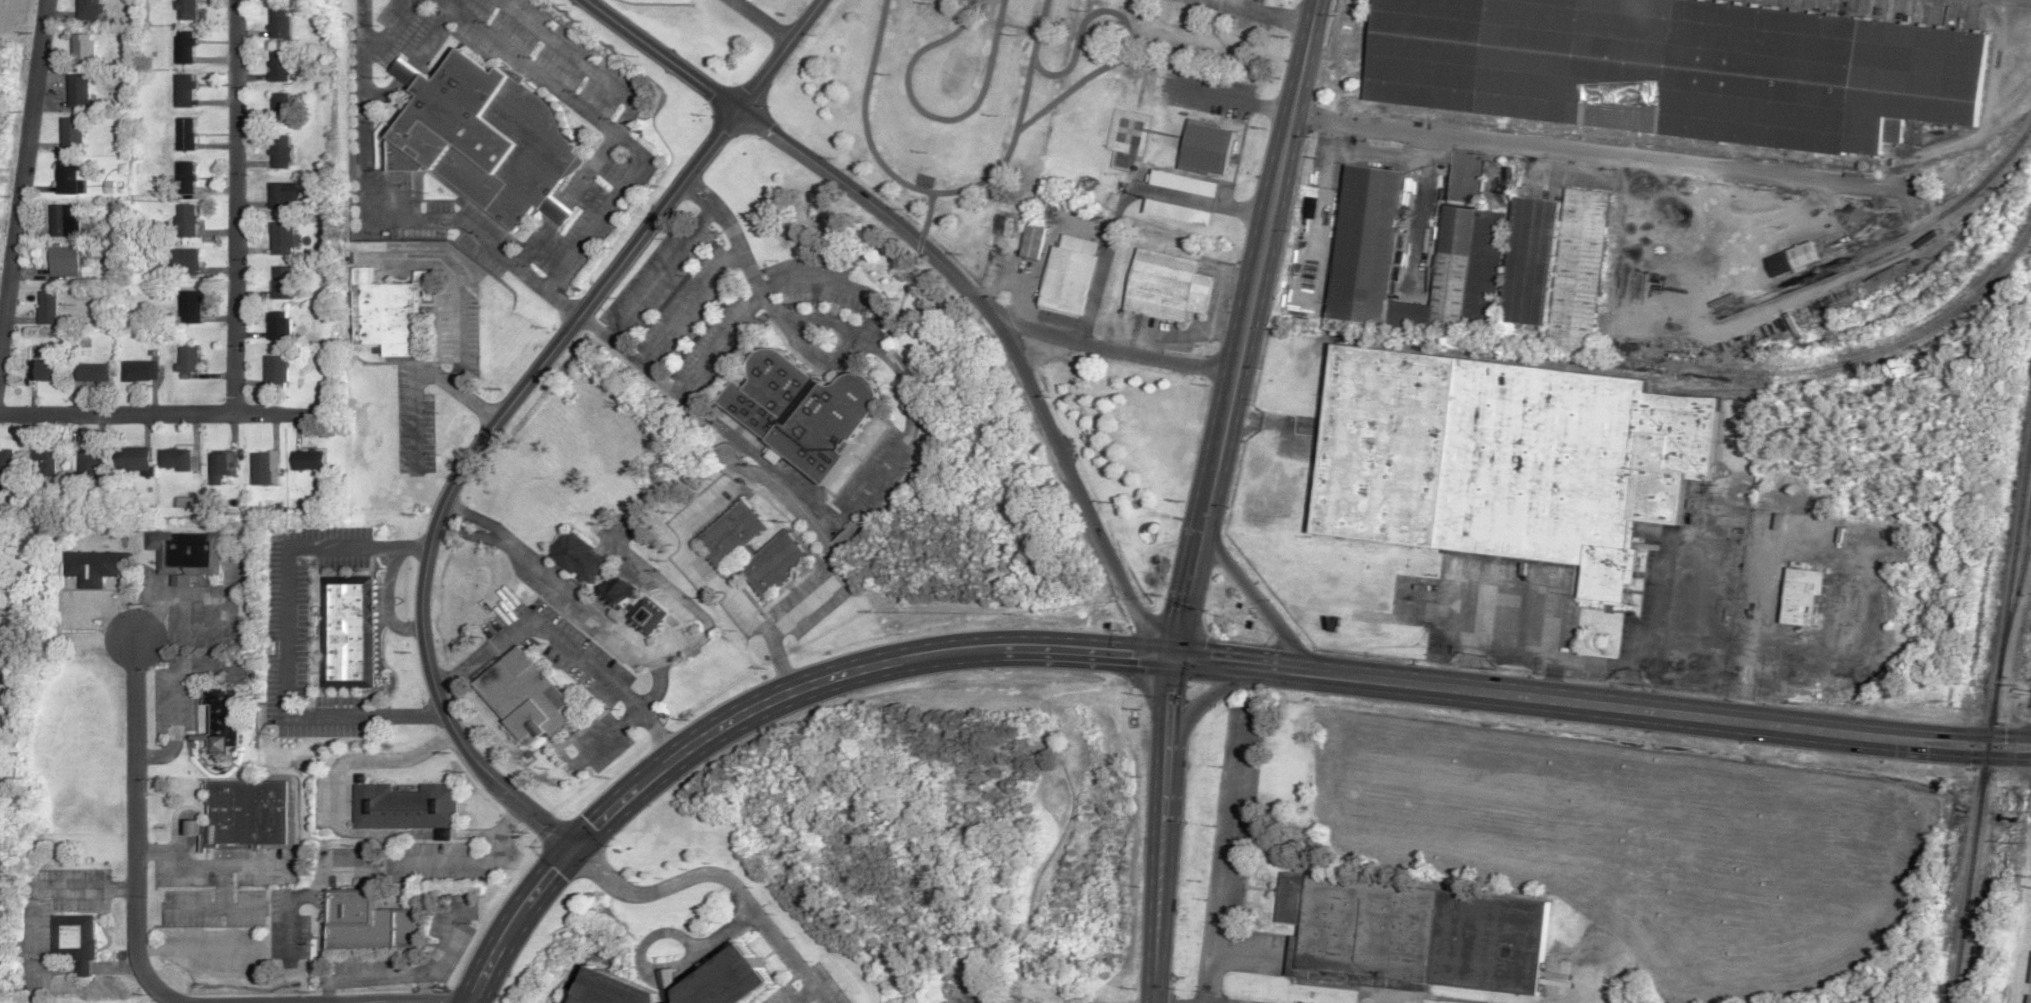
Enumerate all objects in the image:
building: (88, 9)
building: (186, 10)
road: (760, 19)
building: (280, 26)
road: (389, 27)
building: (184, 47)
building: (83, 49)
road: (662, 55)
road: (412, 62)
road: (587, 63)
building: (279, 66)
building: (1678, 69)
building: (78, 91)
building: (184, 91)
building: (280, 109)
road: (363, 109)
road: (594, 118)
building: (72, 135)
building: (185, 135)
road: (1465, 136)
building: (489, 138)
building: (1207, 149)
building: (280, 152)
road: (24, 172)
building: (67, 178)
building: (185, 178)
building: (282, 195)
road: (235, 205)
road: (1422, 205)
road: (873, 206)
road: (608, 209)
building: (186, 221)
building: (64, 222)
building: (1002, 233)
building: (281, 239)
railway: (1893, 240)
road: (480, 241)
building: (1925, 241)
building: (1032, 242)
building: (1467, 256)
road: (1260, 257)
building: (1791, 259)
building: (64, 261)
building: (184, 261)
building: (1556, 266)
building: (1069, 275)
building: (281, 282)
building: (1166, 286)
building: (190, 307)
building: (48, 308)
building: (385, 314)
building: (279, 326)
road: (1114, 348)
building: (189, 358)
railway: (1733, 368)
building: (47, 370)
building: (140, 370)
building: (277, 371)
building: (93, 373)
road: (508, 408)
building: (801, 409)
road: (157, 413)
building: (133, 459)
building: (176, 459)
building: (309, 459)
building: (7, 460)
building: (43, 460)
building: (93, 460)
building: (1505, 460)
building: (223, 466)
building: (265, 466)
road: (1076, 493)
road: (445, 517)
road: (451, 518)
building: (780, 549)
building: (185, 554)
building: (579, 556)
road: (1187, 584)
building: (616, 590)
railway: (2015, 591)
building: (1801, 595)
road: (1251, 596)
road: (576, 603)
building: (646, 616)
road: (748, 617)
building: (348, 631)
road: (563, 647)
road: (670, 648)
traffic signals: (1175, 654)
road: (1623, 663)
road: (1280, 668)
building: (0, 675)
road: (1550, 677)
road: (1629, 686)
road: (793, 691)
road: (1170, 694)
building: (523, 698)
road: (1206, 698)
road: (1648, 711)
railway: (1990, 712)
building: (222, 719)
road: (2008, 746)
building: (406, 807)
building: (243, 816)
road: (133, 829)
traffic signals: (565, 844)
road: (1158, 868)
road: (714, 875)
building: (372, 922)
road: (721, 931)
building: (1414, 936)
building: (76, 940)
road: (642, 970)
building: (726, 980)
building: (668, 984)
parking lot: (807, 988)
building: (610, 989)
road: (801, 994)

